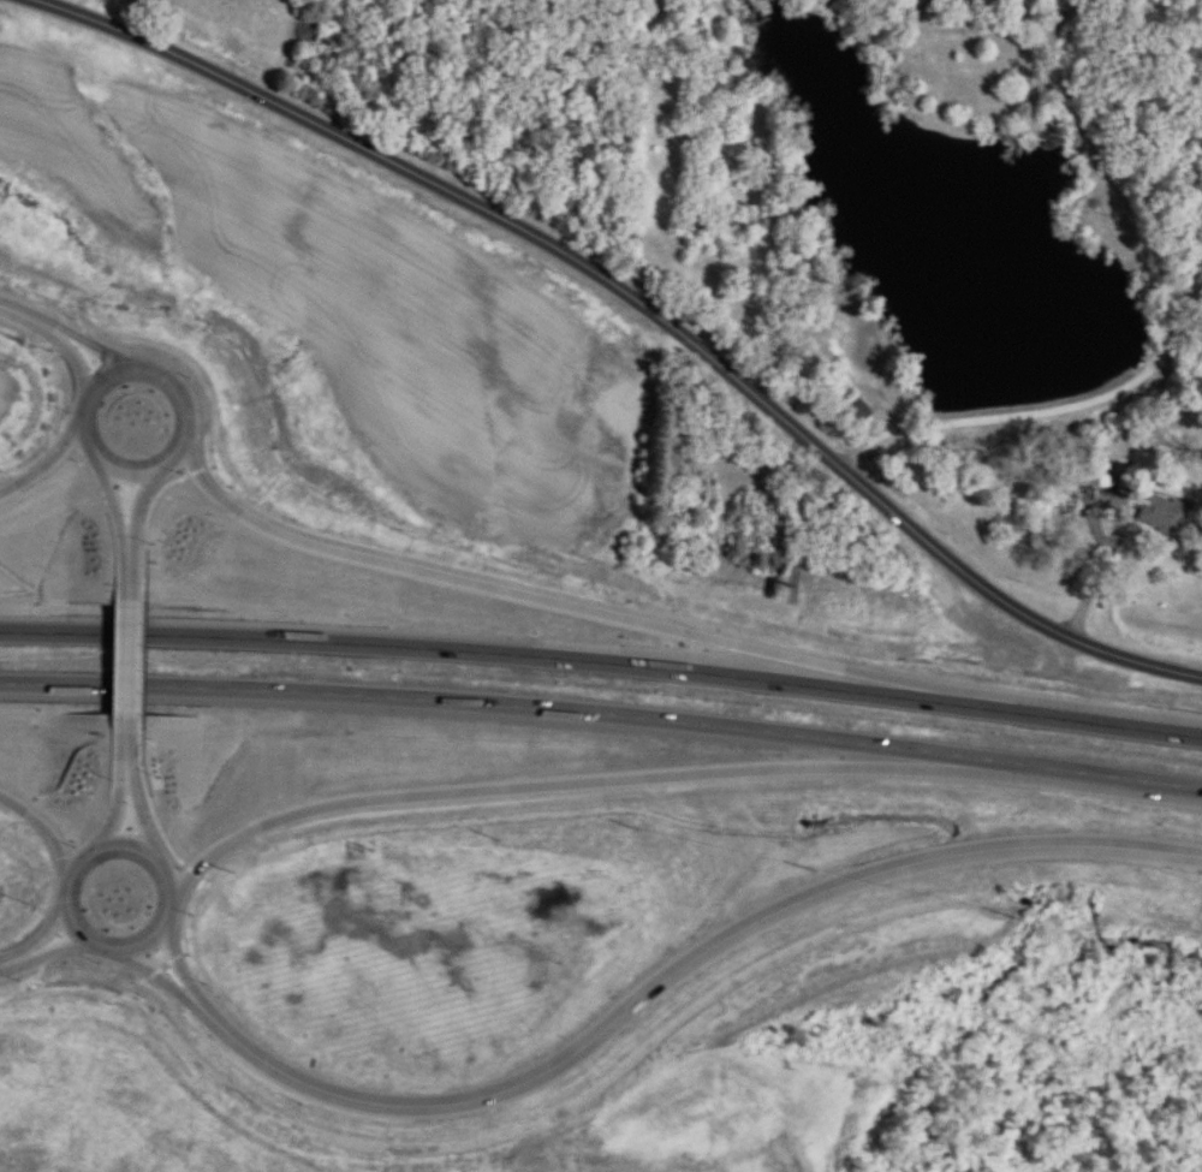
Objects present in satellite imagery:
road: (638, 303)
road: (61, 332)
road: (1167, 334)
road: (160, 375)
building: (856, 412)
road: (43, 460)
building: (1093, 475)
building: (1165, 513)
road: (137, 539)
road: (584, 602)
road: (602, 658)
road: (133, 664)
road: (602, 715)
road: (131, 775)
road: (612, 781)
road: (40, 822)
road: (162, 841)
road: (32, 946)
road: (650, 986)

